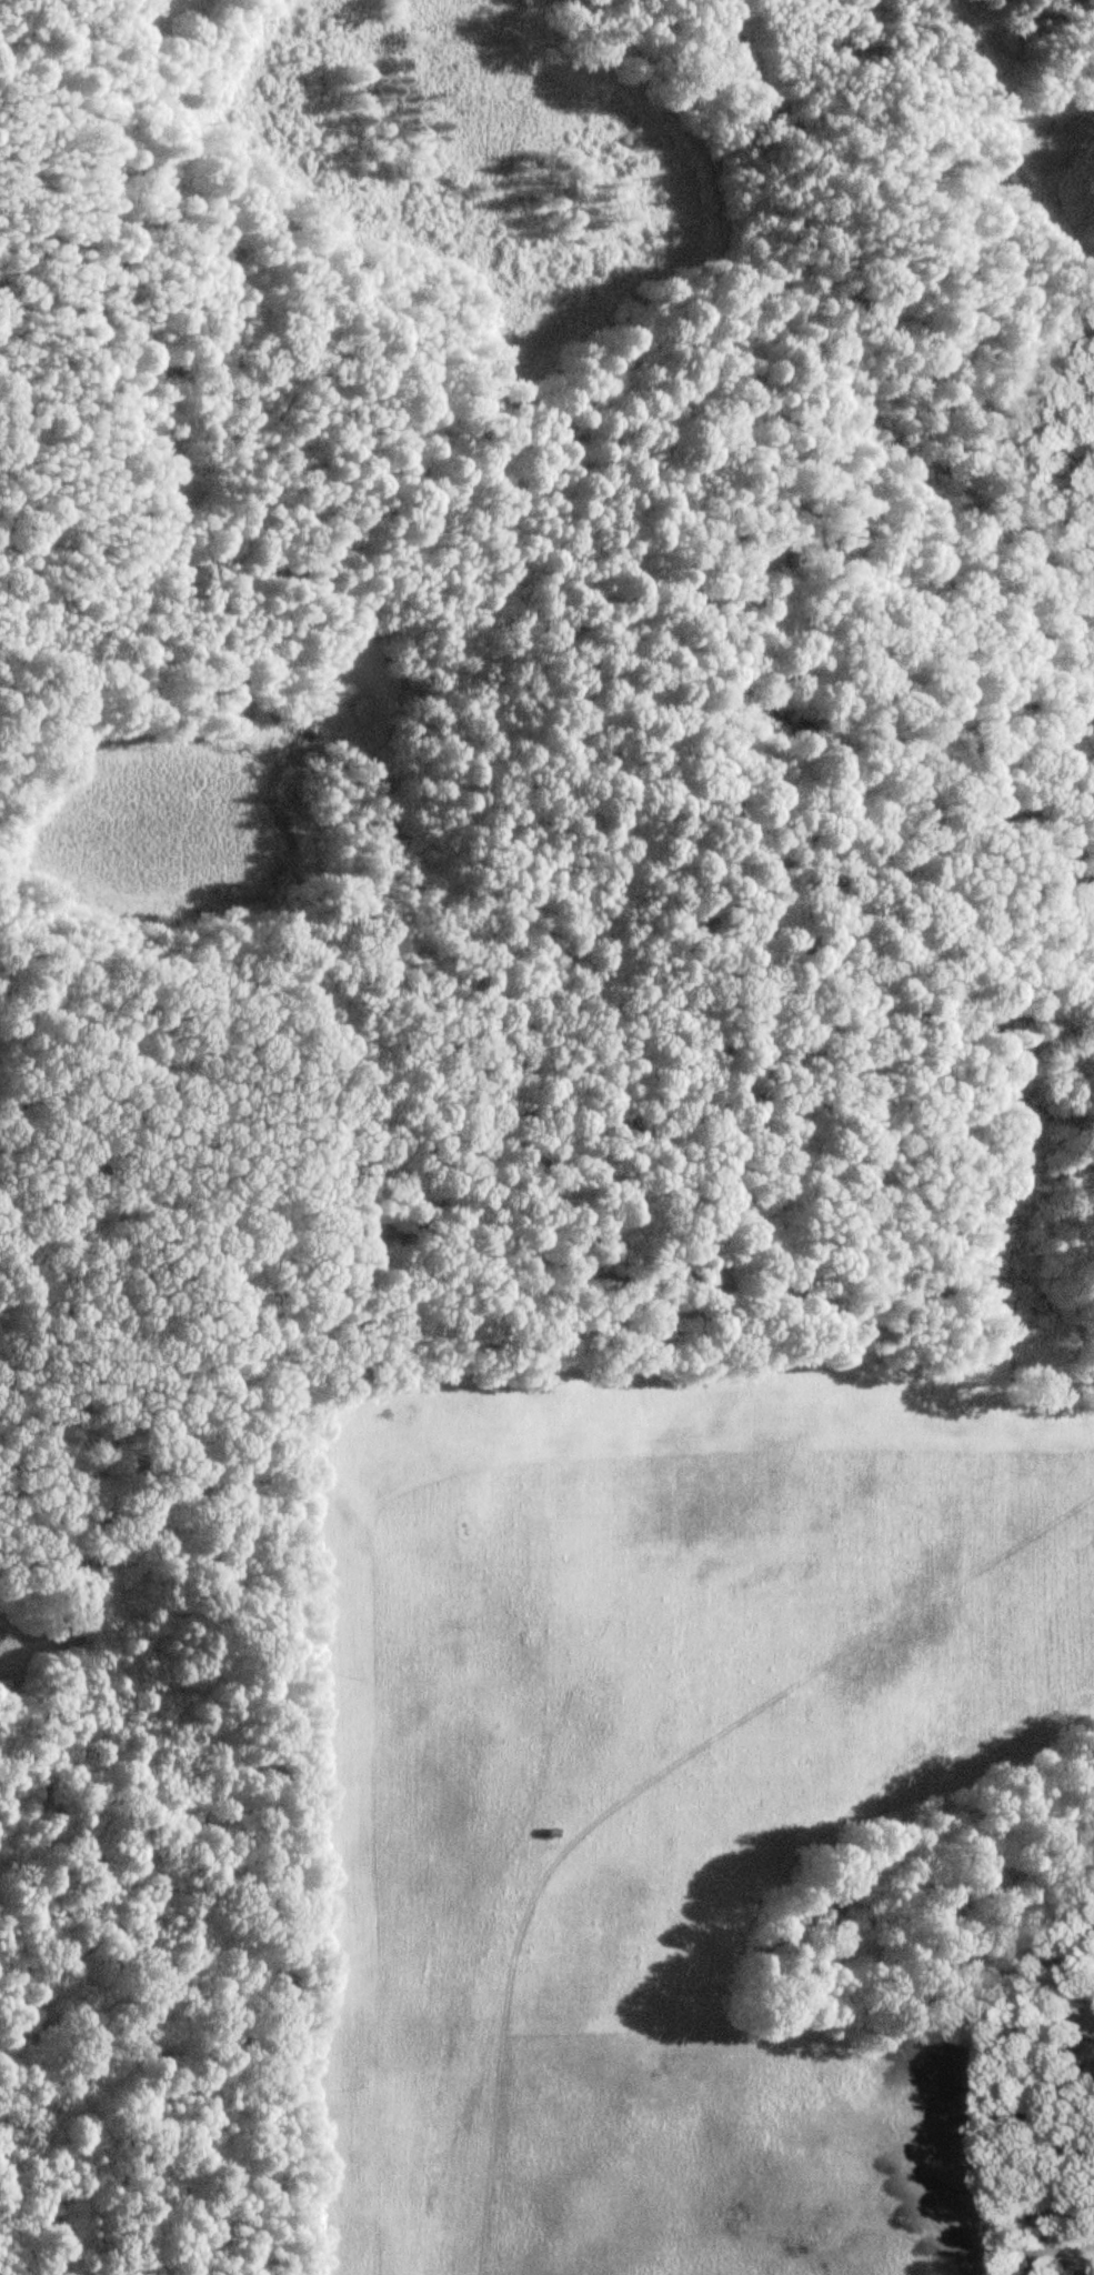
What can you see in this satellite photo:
crop: (666, 1801)

